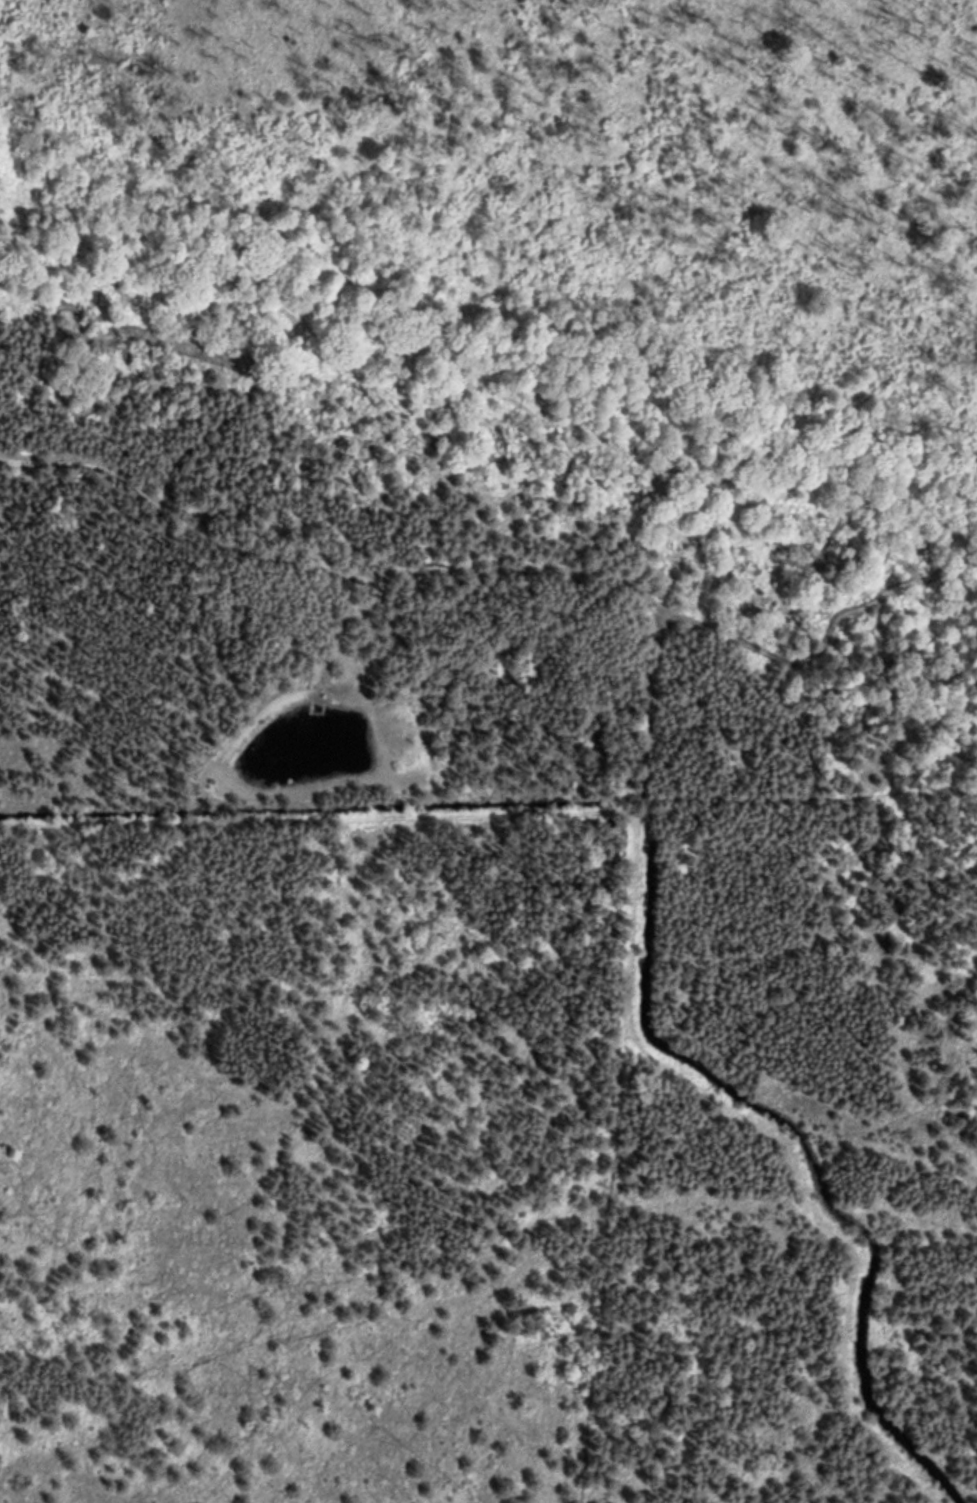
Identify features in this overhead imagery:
road: (489, 563)
road: (638, 893)

